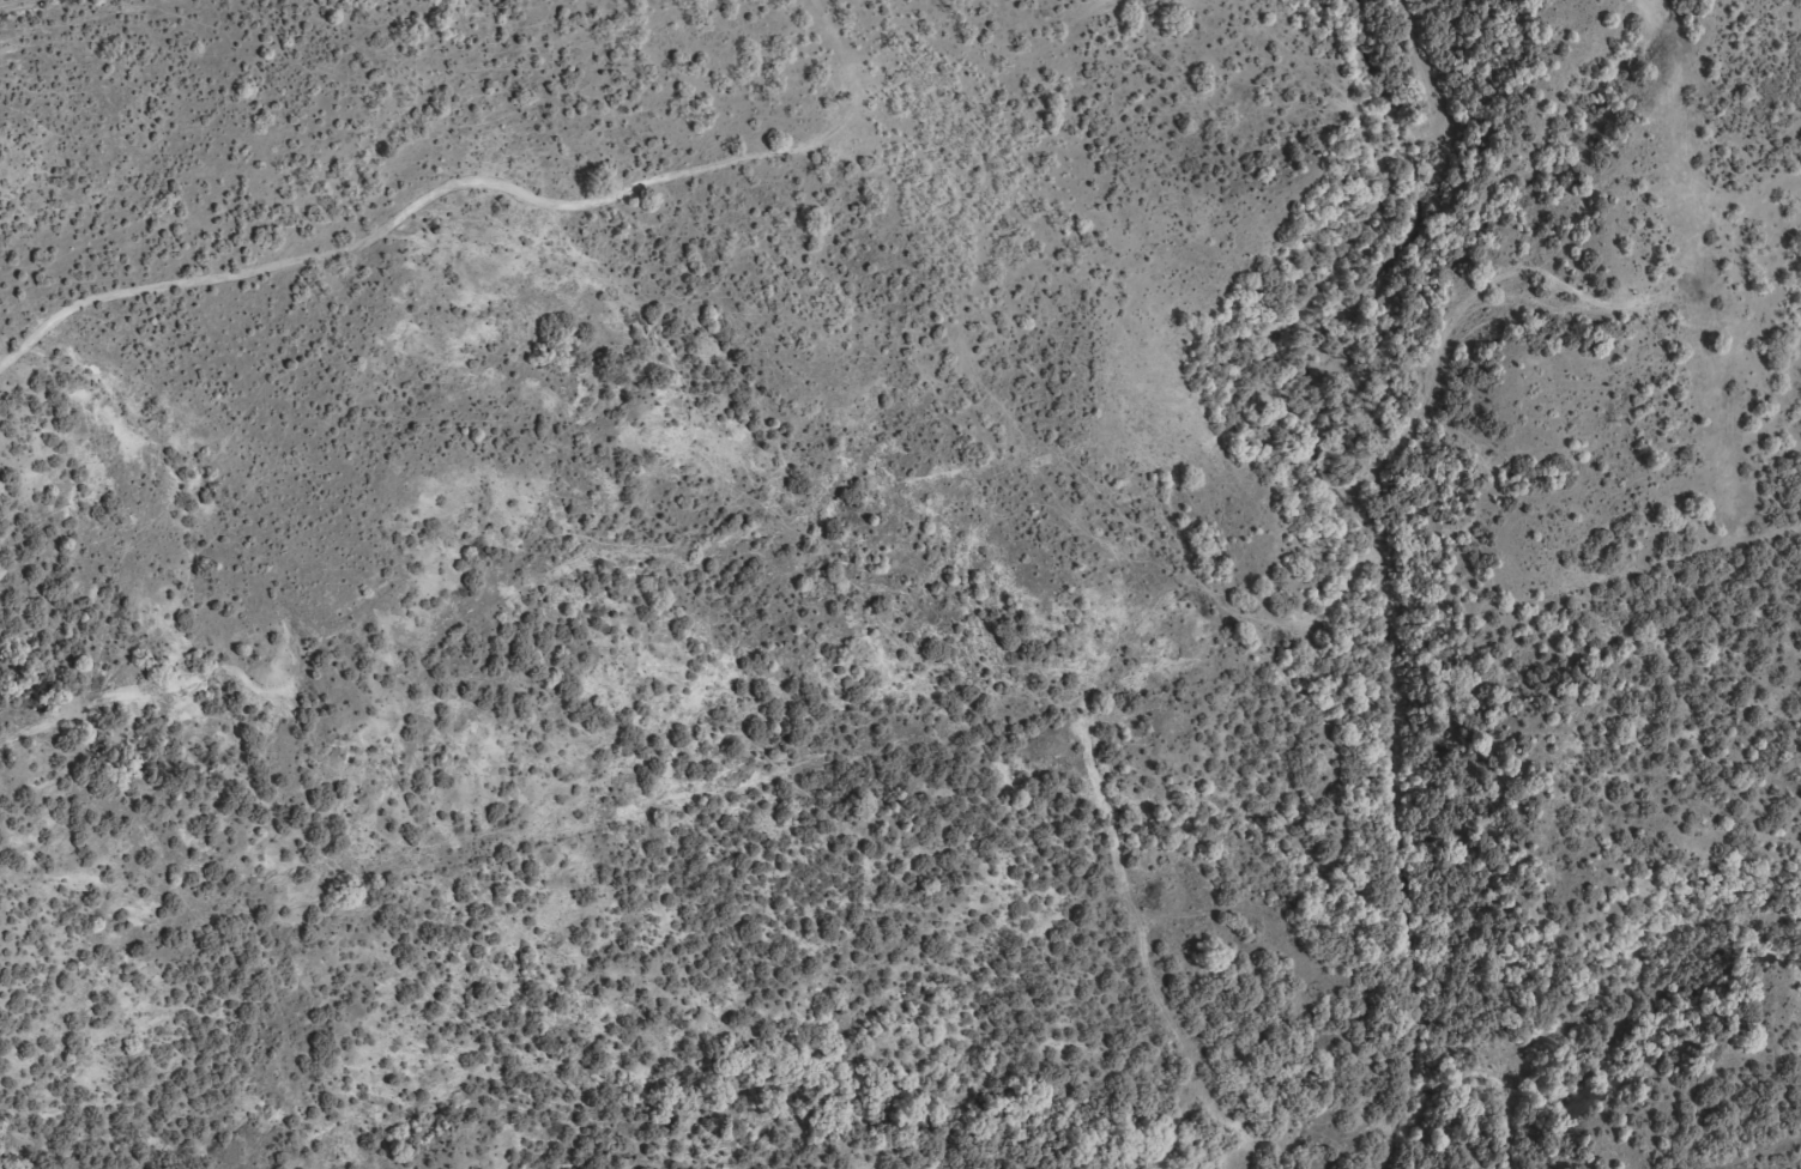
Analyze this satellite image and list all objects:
road: (137, 23)

